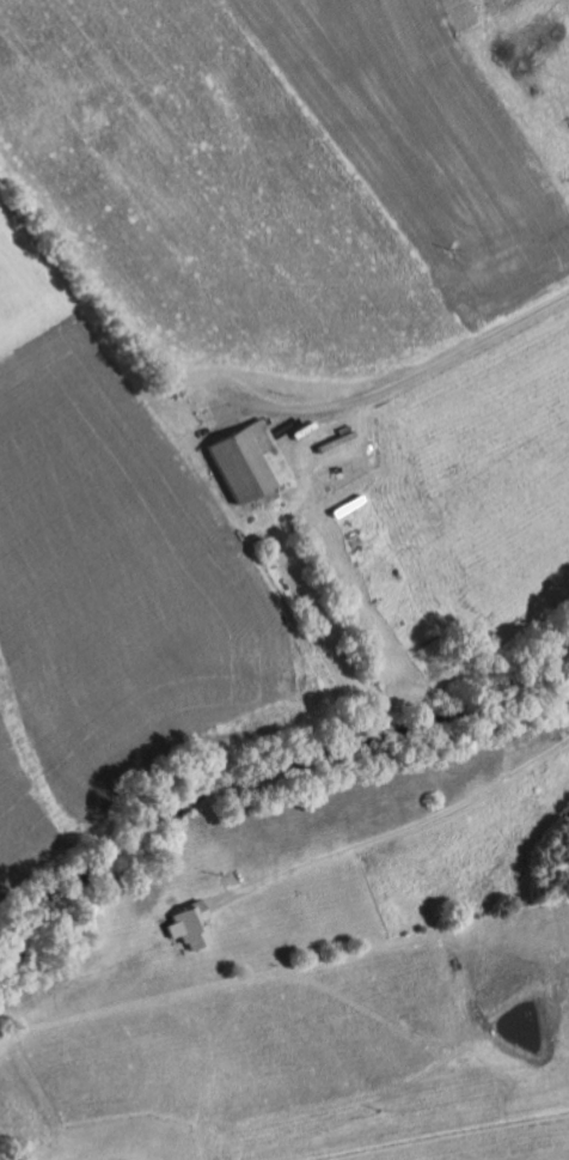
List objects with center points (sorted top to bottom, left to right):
road: (435, 358)
building: (246, 462)
building: (189, 925)

